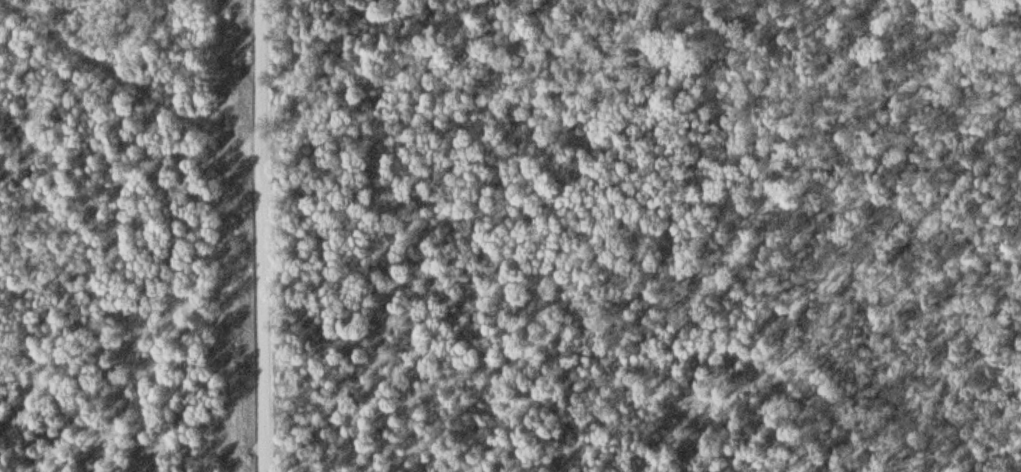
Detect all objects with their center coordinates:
road: (141, 76)
road: (269, 235)

